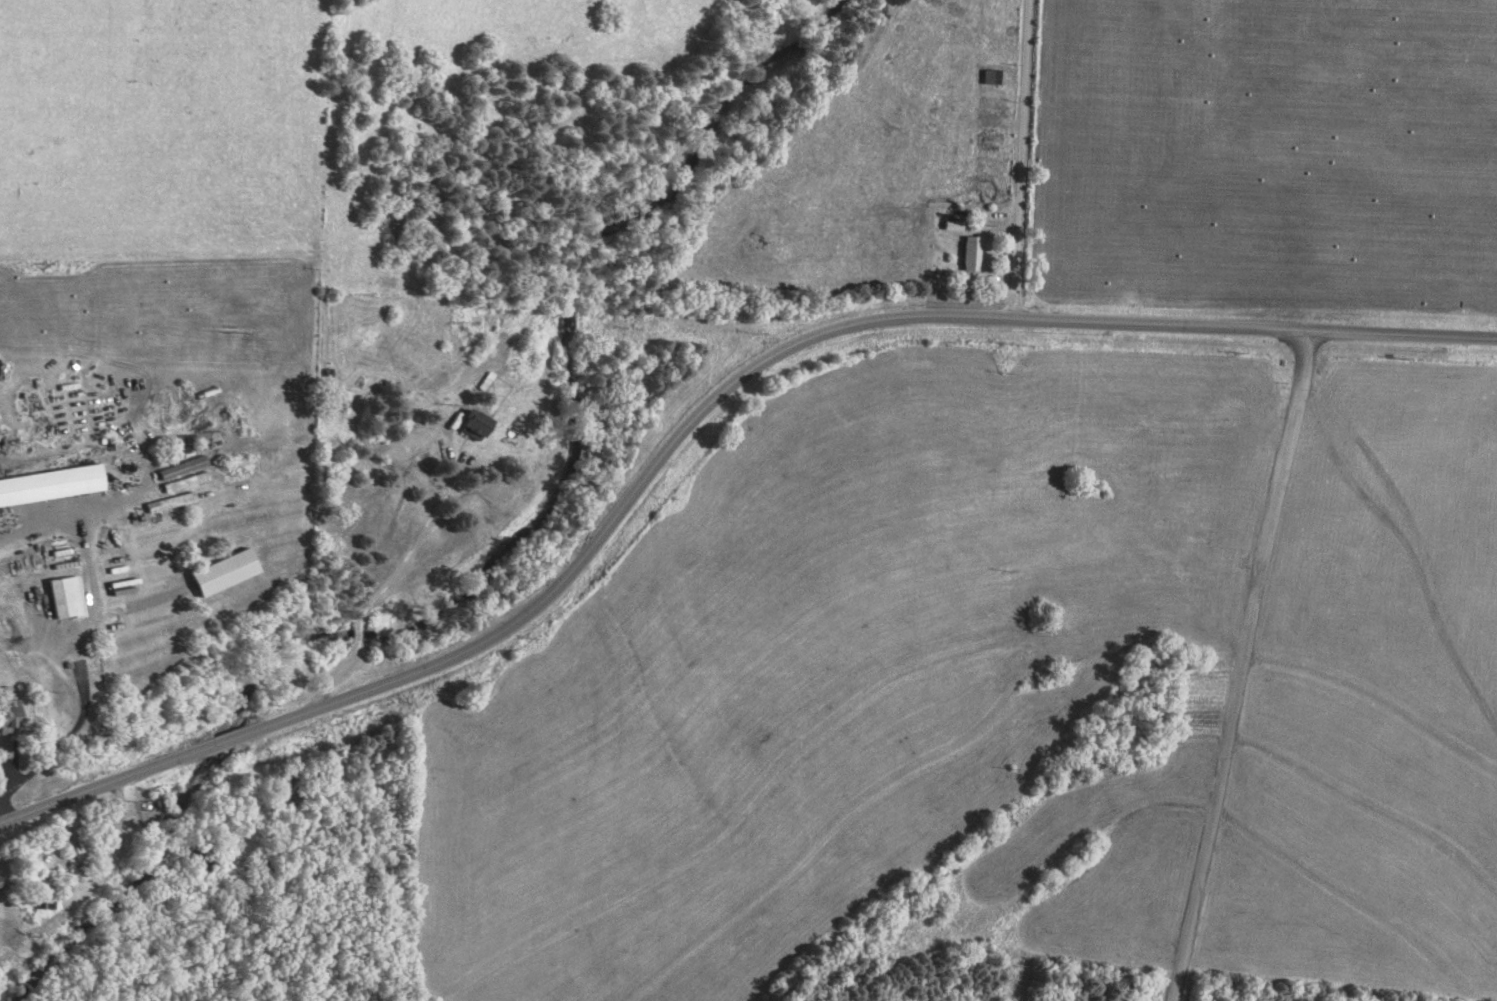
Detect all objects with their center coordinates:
road: (133, 120)
road: (1025, 158)
building: (968, 253)
road: (696, 418)
building: (467, 423)
building: (53, 485)
road: (63, 523)
road: (416, 549)
building: (217, 573)
building: (69, 597)
road: (42, 645)
road: (1242, 662)
road: (80, 675)
building: (13, 718)
road: (1, 817)
building: (3, 880)
building: (44, 900)

